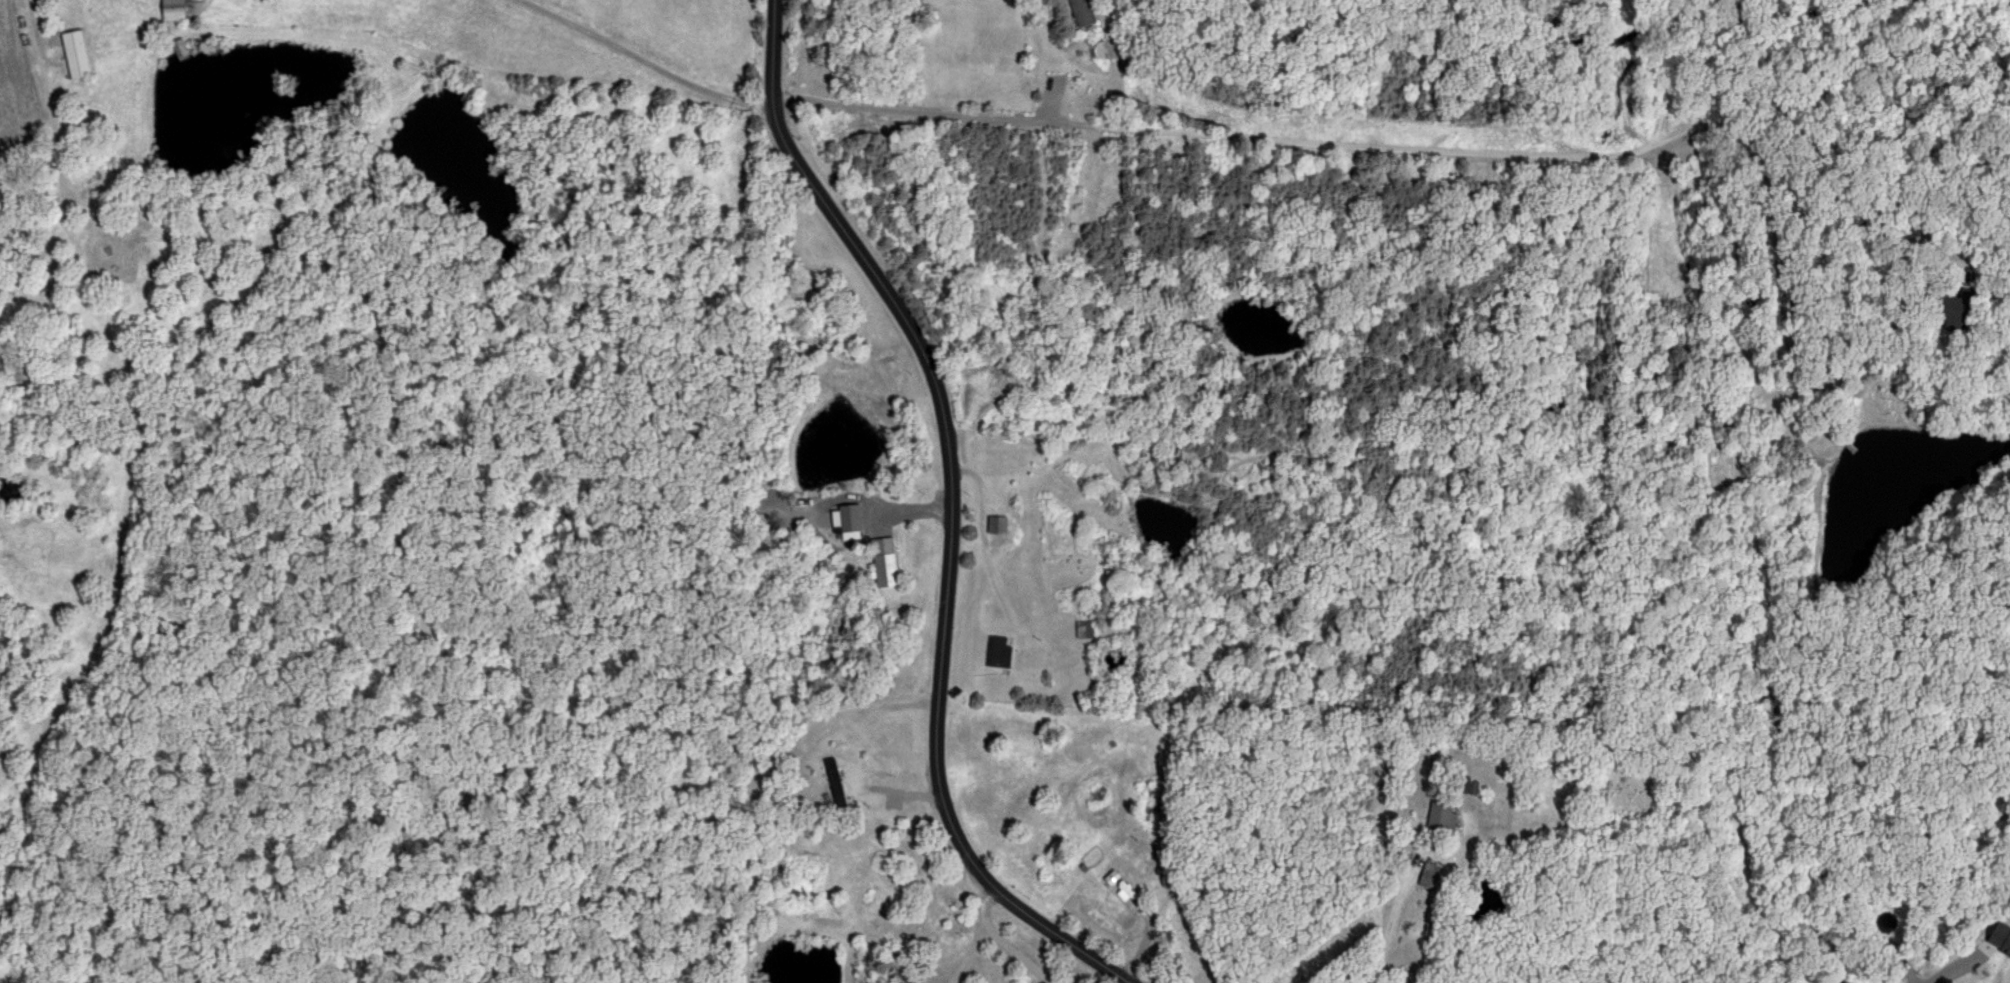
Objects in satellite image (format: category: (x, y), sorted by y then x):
building: (176, 10)
building: (1082, 13)
road: (30, 21)
building: (181, 50)
building: (79, 55)
road: (644, 60)
road: (1509, 152)
road: (951, 510)
building: (852, 521)
building: (1001, 524)
building: (886, 563)
building: (1086, 629)
building: (999, 653)
building: (836, 782)
building: (1444, 817)
building: (1430, 876)
building: (944, 895)
road: (1385, 923)
road: (1945, 969)
building: (900, 971)

